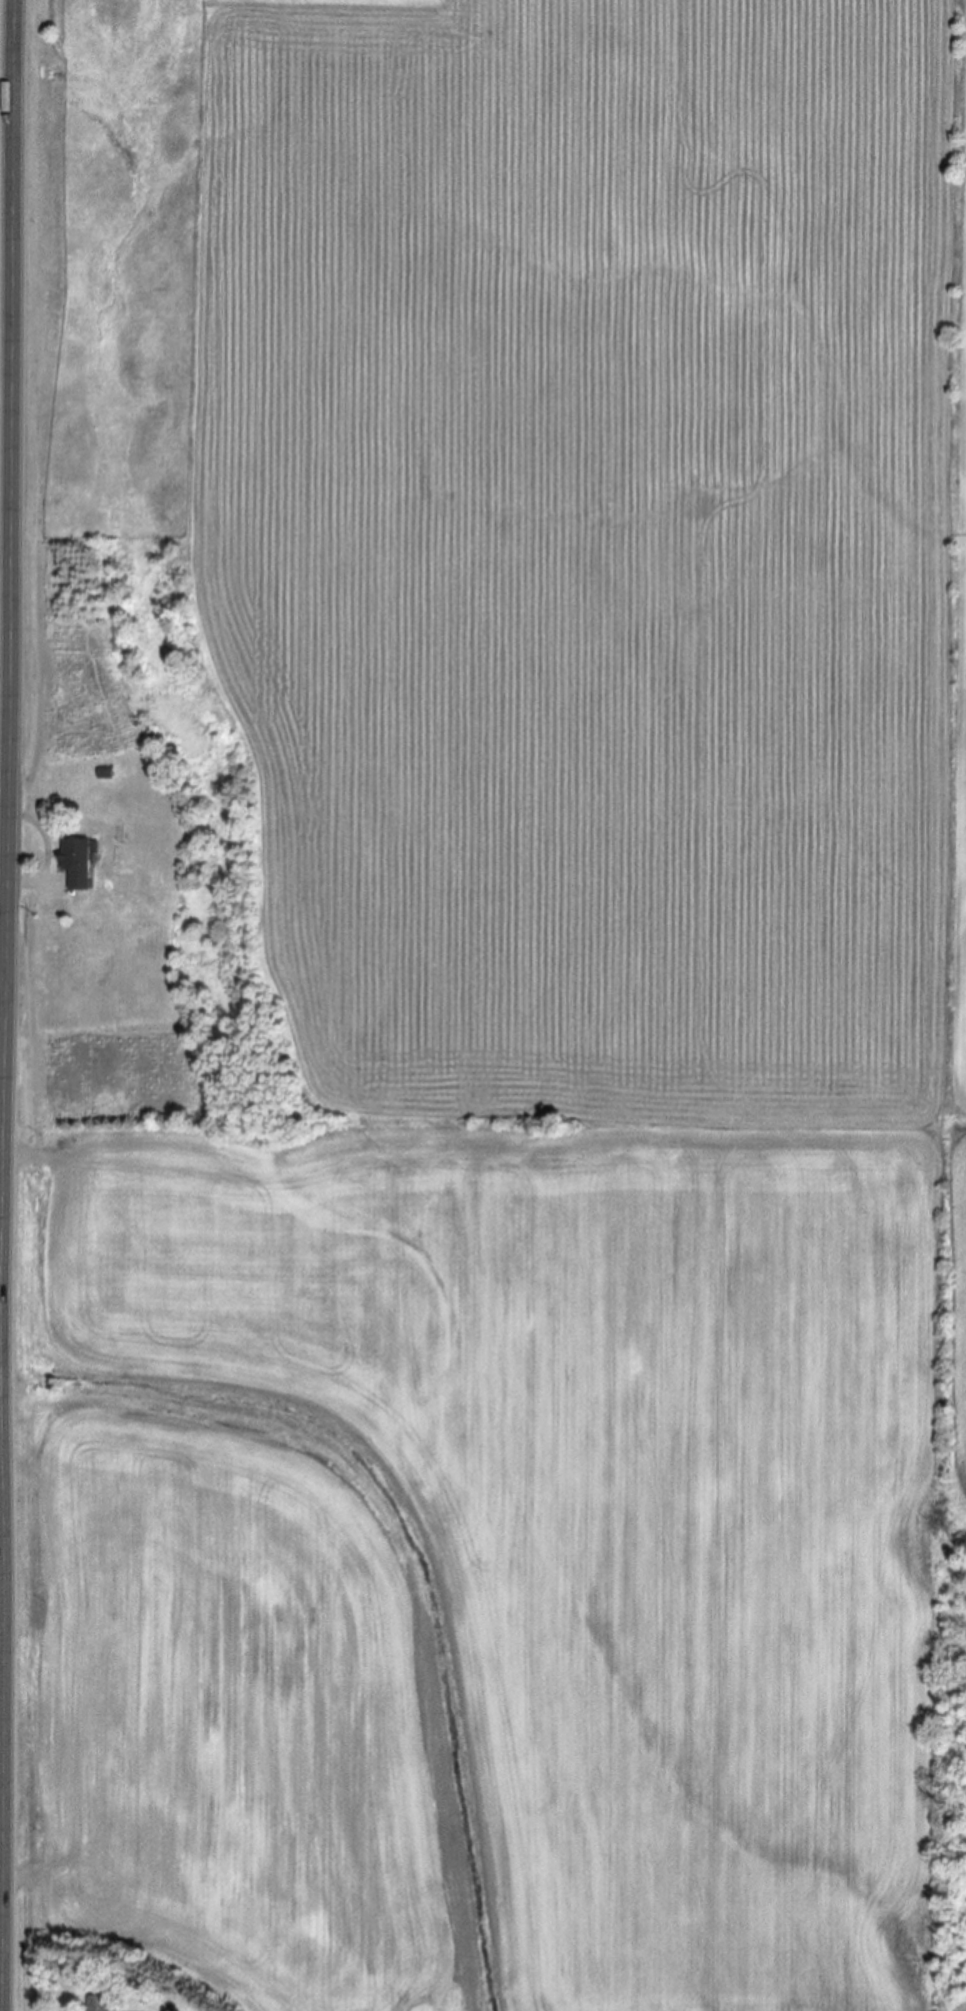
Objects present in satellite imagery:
road: (6, 406)
building: (72, 863)
road: (28, 883)
road: (3, 981)
road: (5, 1005)
road: (2, 1605)
building: (97, 2003)

